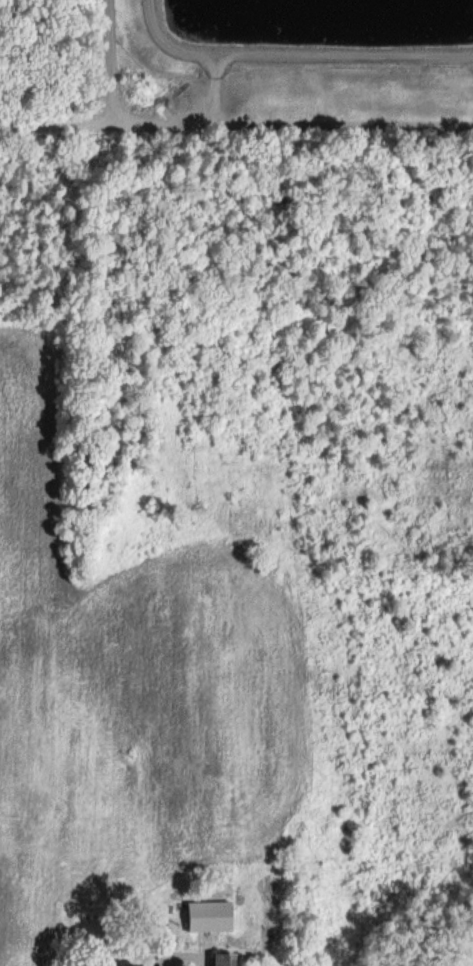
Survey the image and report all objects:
road: (115, 61)
road: (282, 119)
road: (46, 122)
road: (180, 956)
building: (218, 959)
building: (127, 964)

